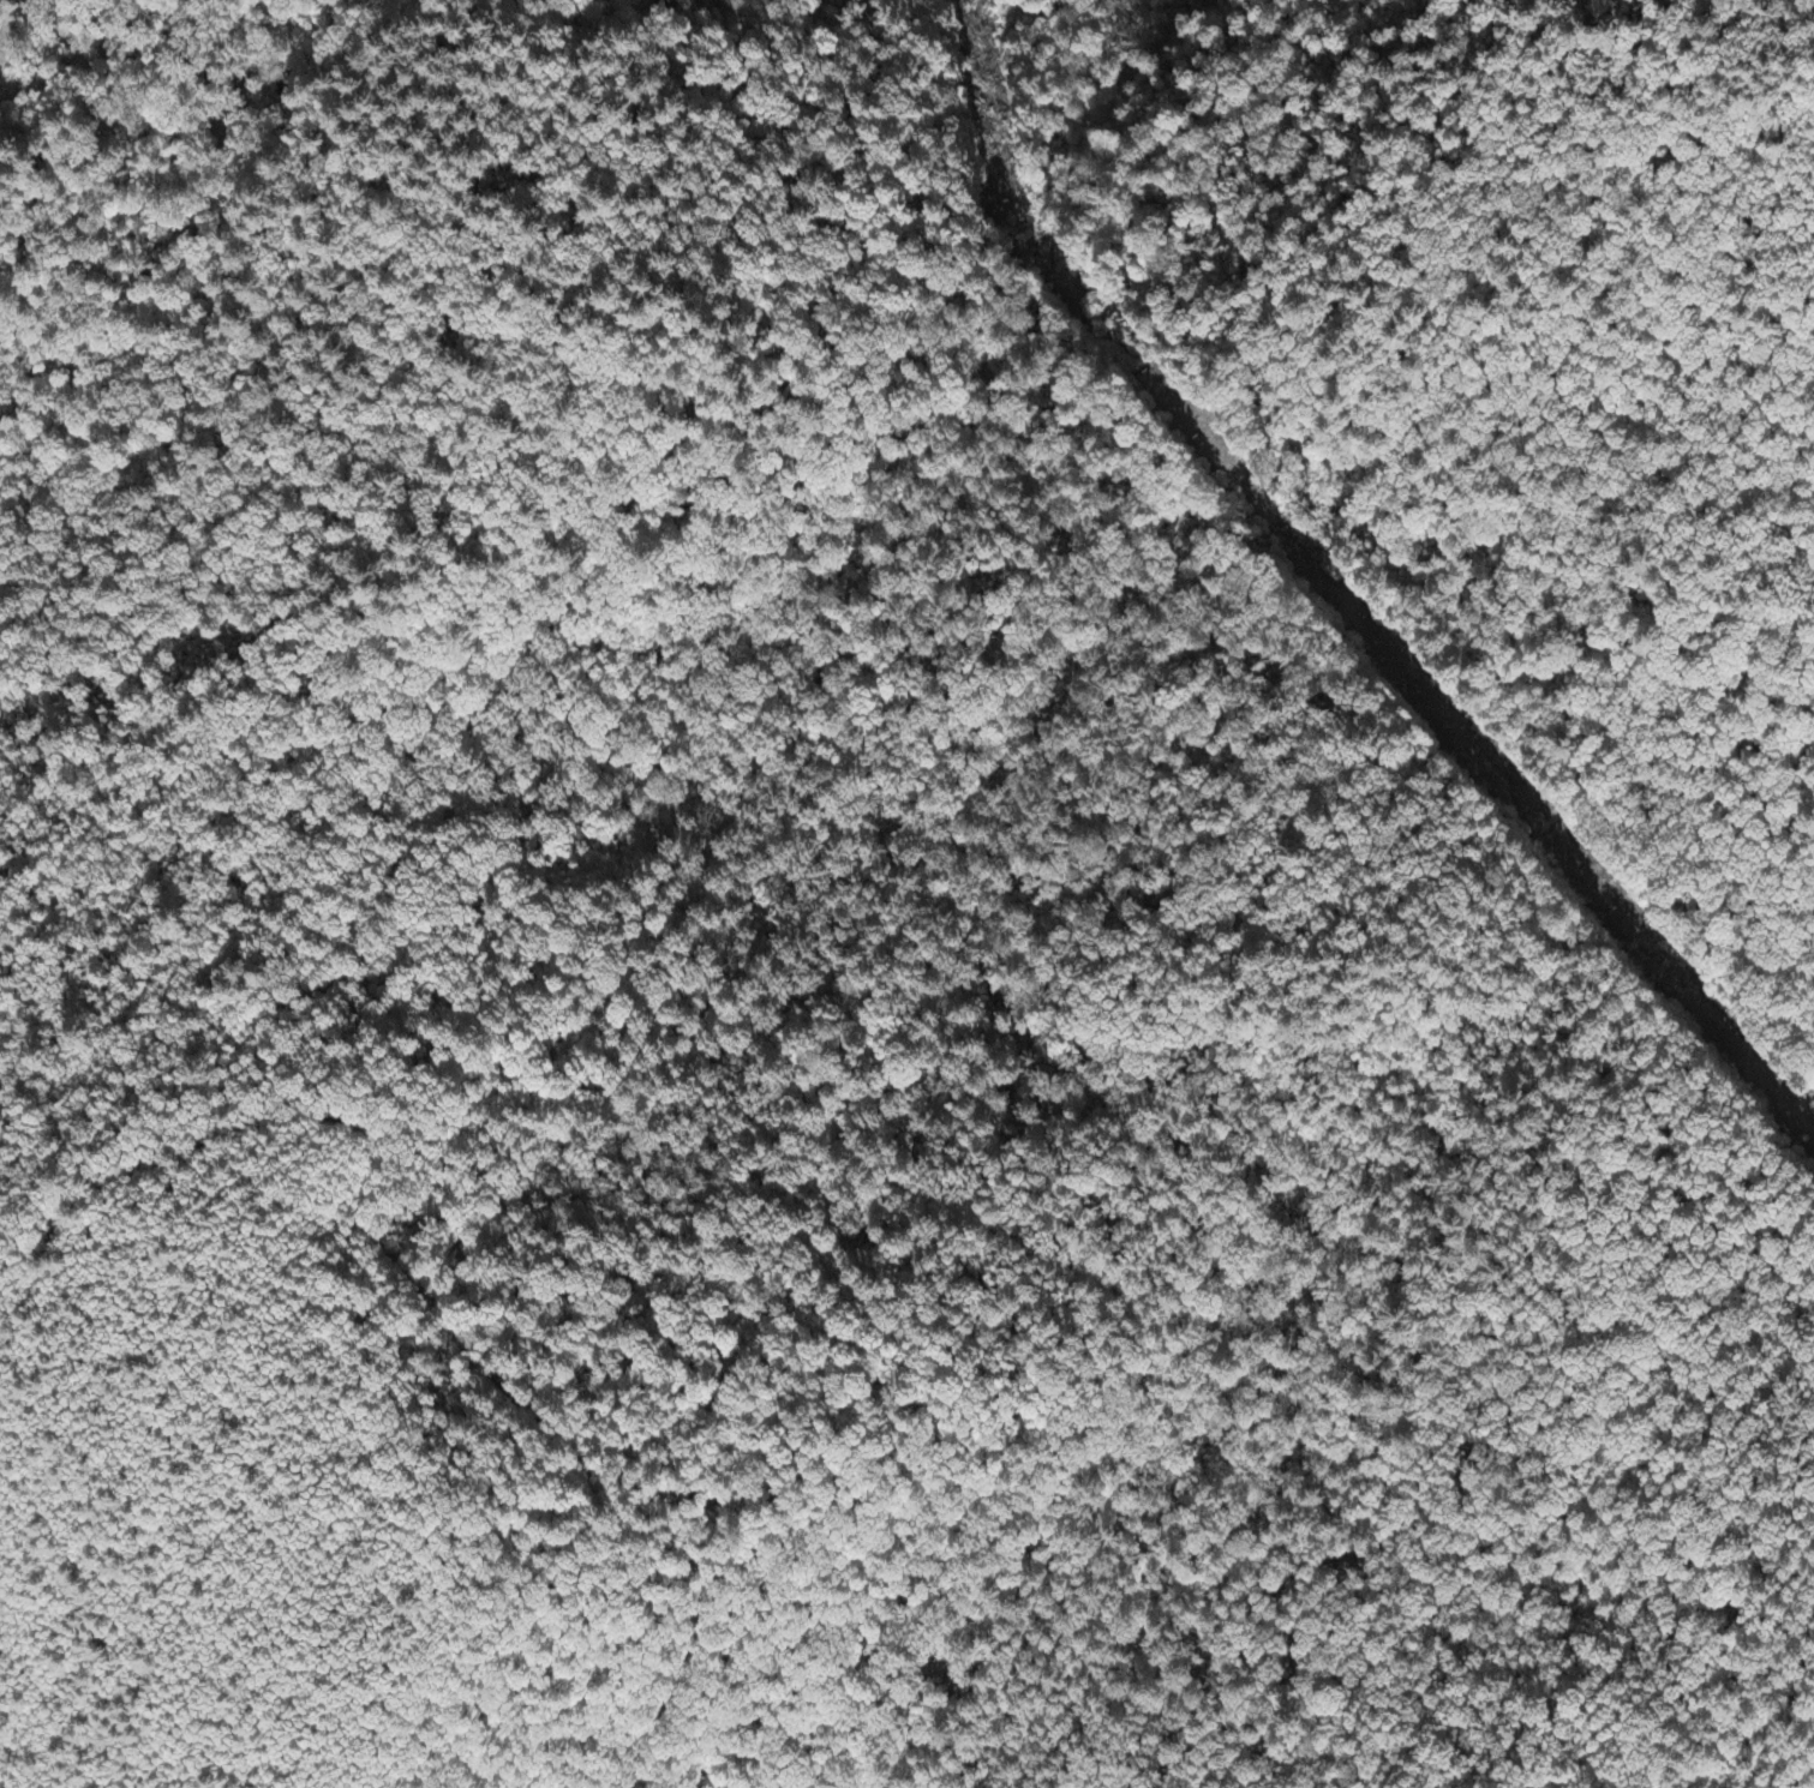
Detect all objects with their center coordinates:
road: (4, 13)
road: (12, 301)
road: (508, 664)

